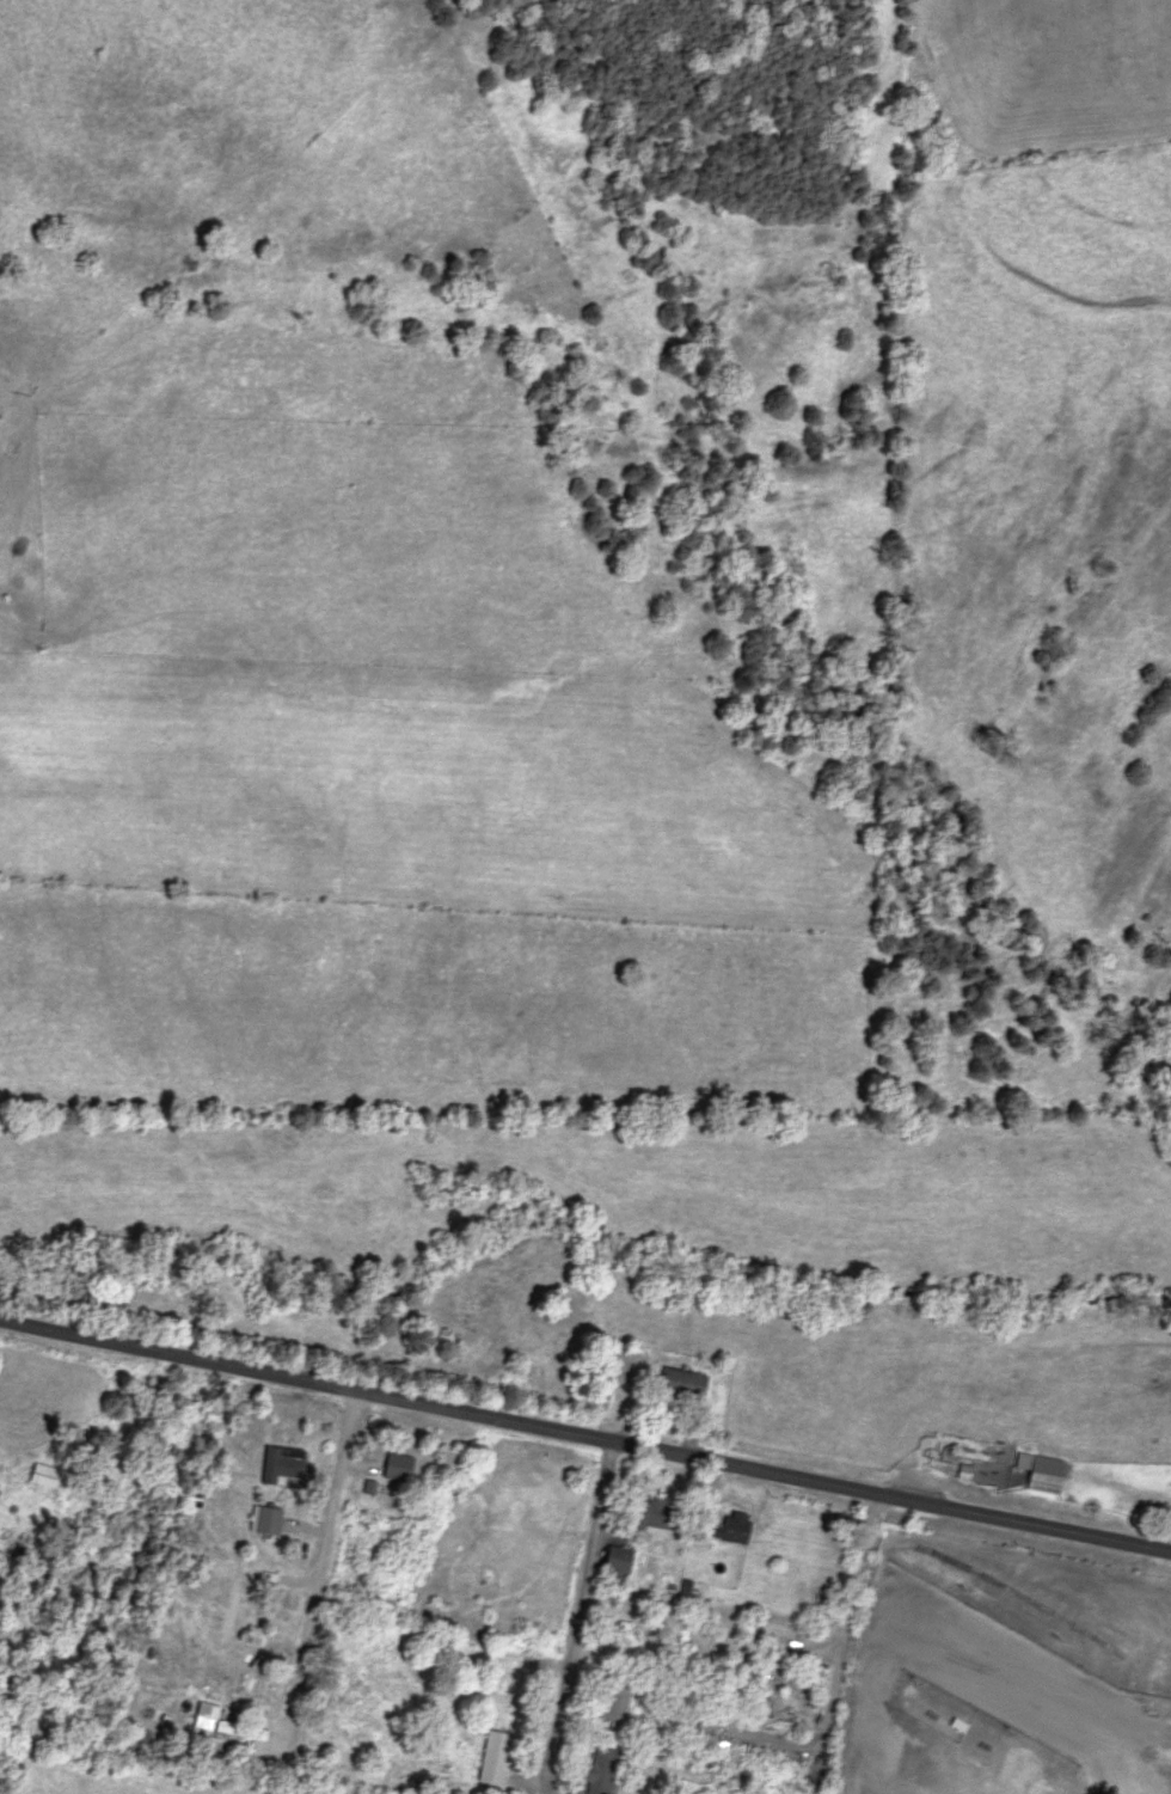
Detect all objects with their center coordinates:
building: (680, 1383)
road: (584, 1435)
building: (282, 1465)
building: (398, 1467)
building: (1041, 1471)
building: (44, 1475)
building: (654, 1513)
building: (268, 1519)
building: (732, 1527)
building: (620, 1559)
building: (42, 1565)
road: (319, 1573)
building: (233, 1604)
road: (576, 1615)
building: (513, 1670)
building: (617, 1702)
building: (206, 1712)
building: (692, 1722)
road: (817, 1738)
building: (495, 1758)
building: (600, 1771)

